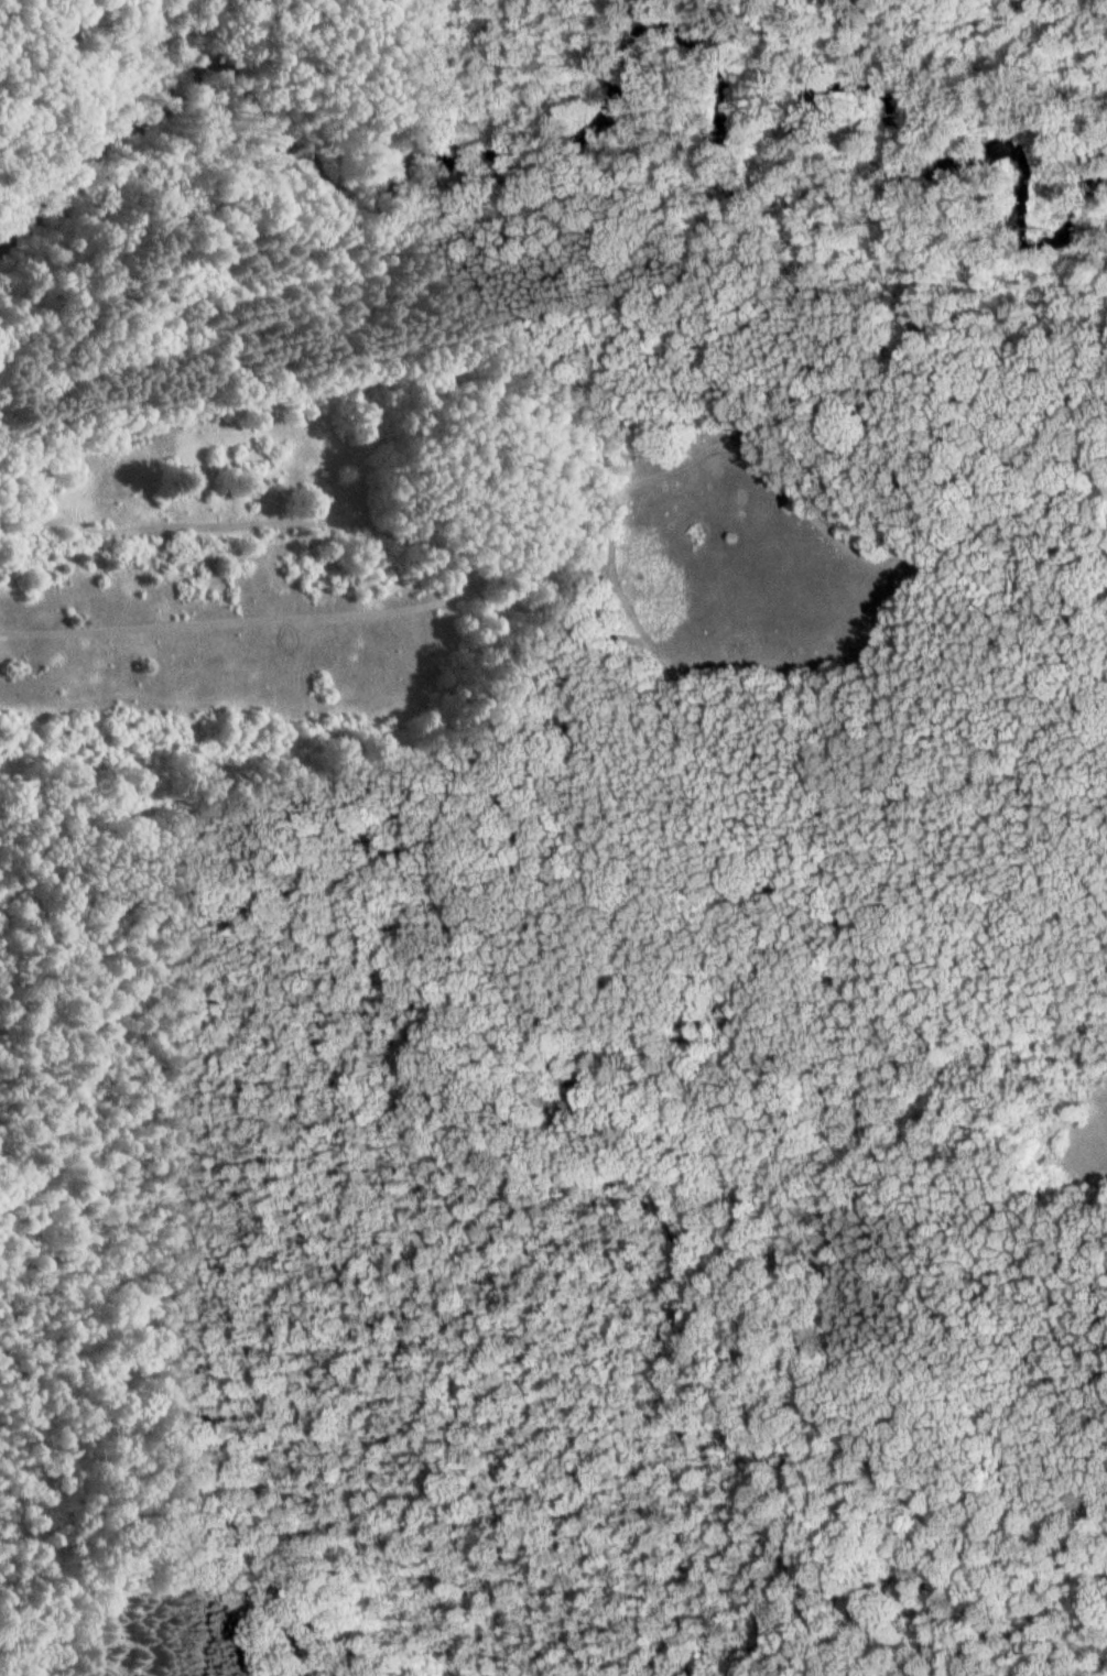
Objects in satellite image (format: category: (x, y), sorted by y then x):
road: (621, 675)

